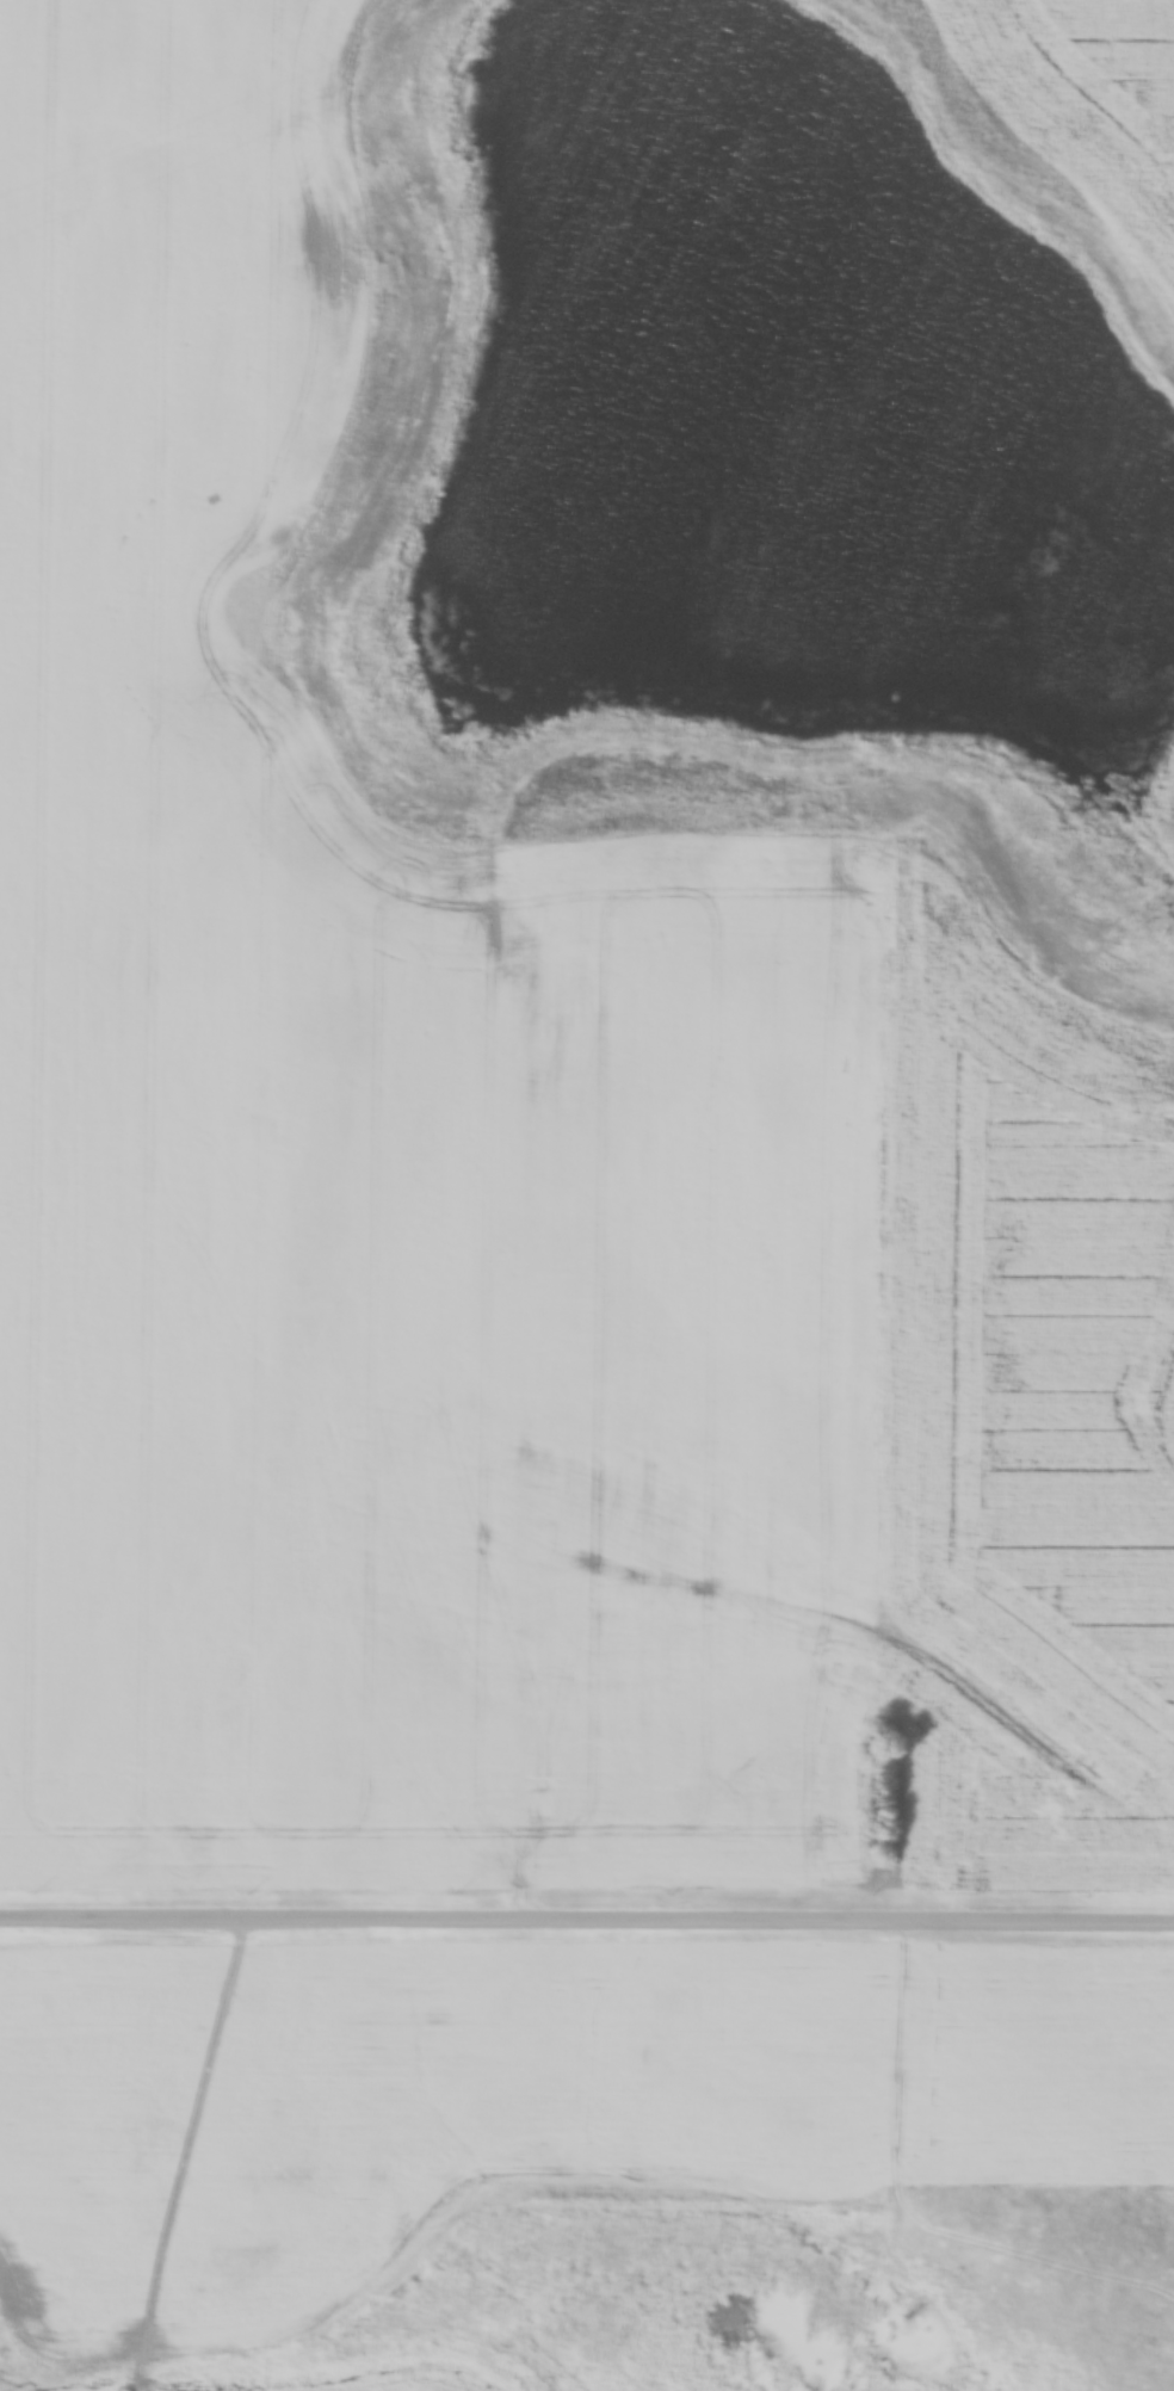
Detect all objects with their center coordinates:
road: (587, 1922)

